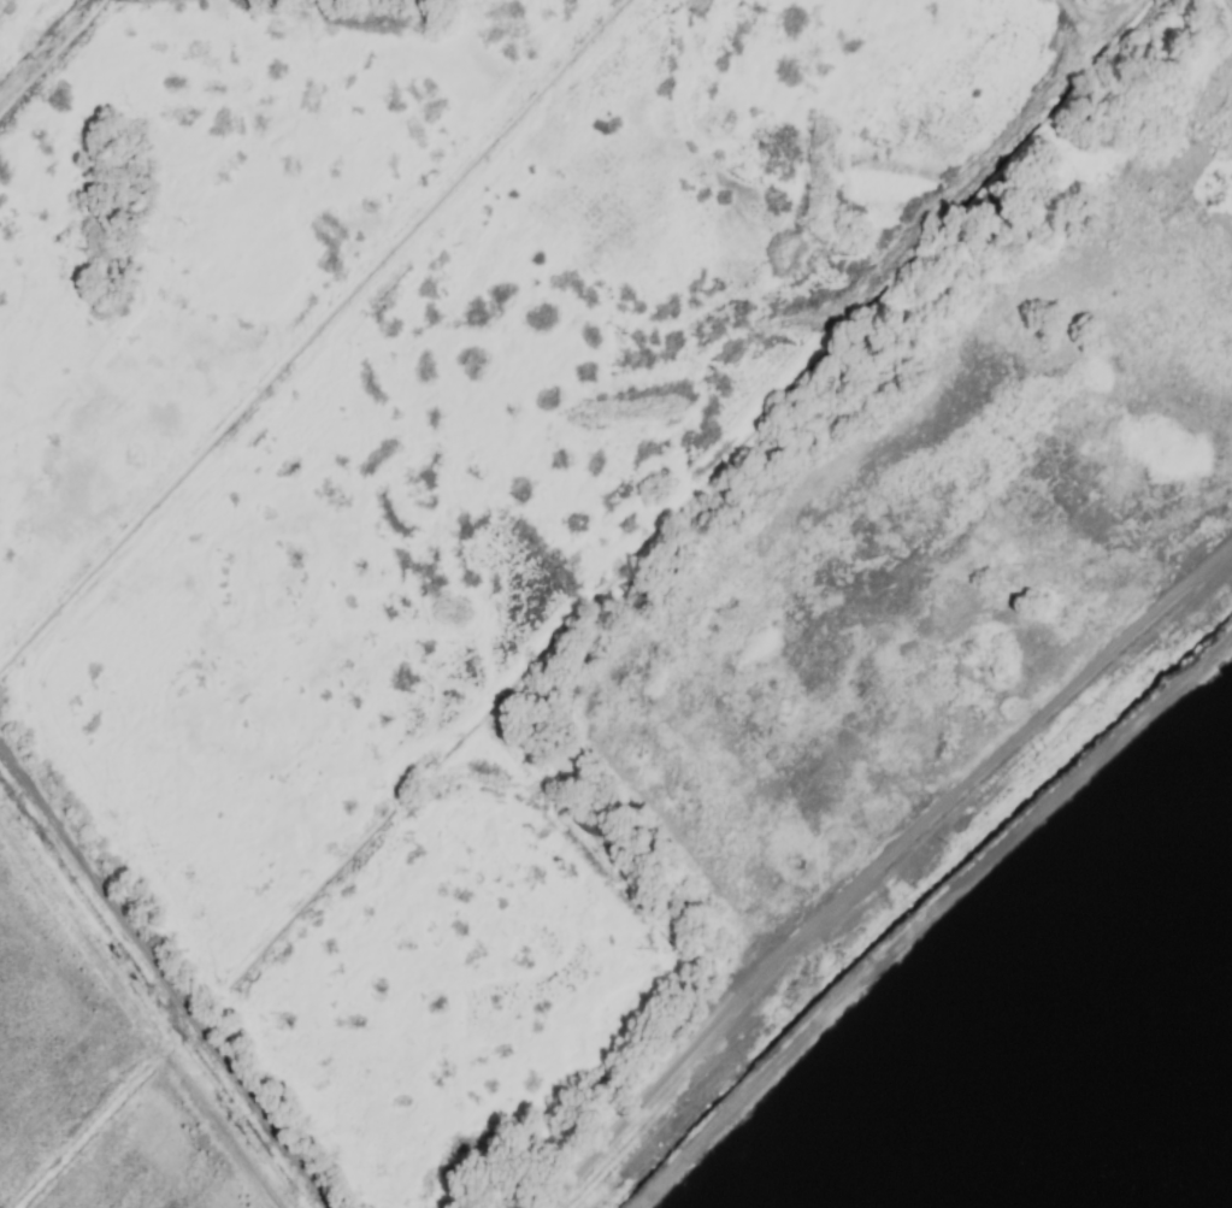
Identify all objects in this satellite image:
crop: (615, 603)

